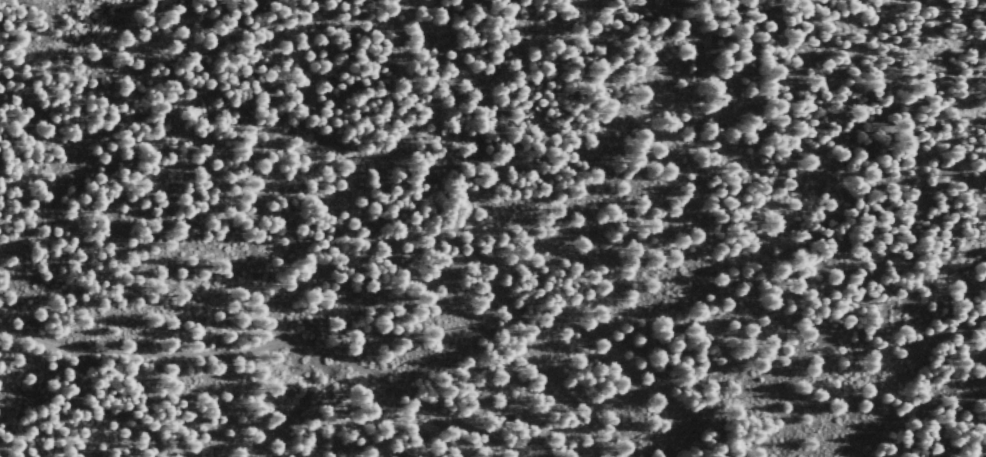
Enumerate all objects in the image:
road: (272, 346)

